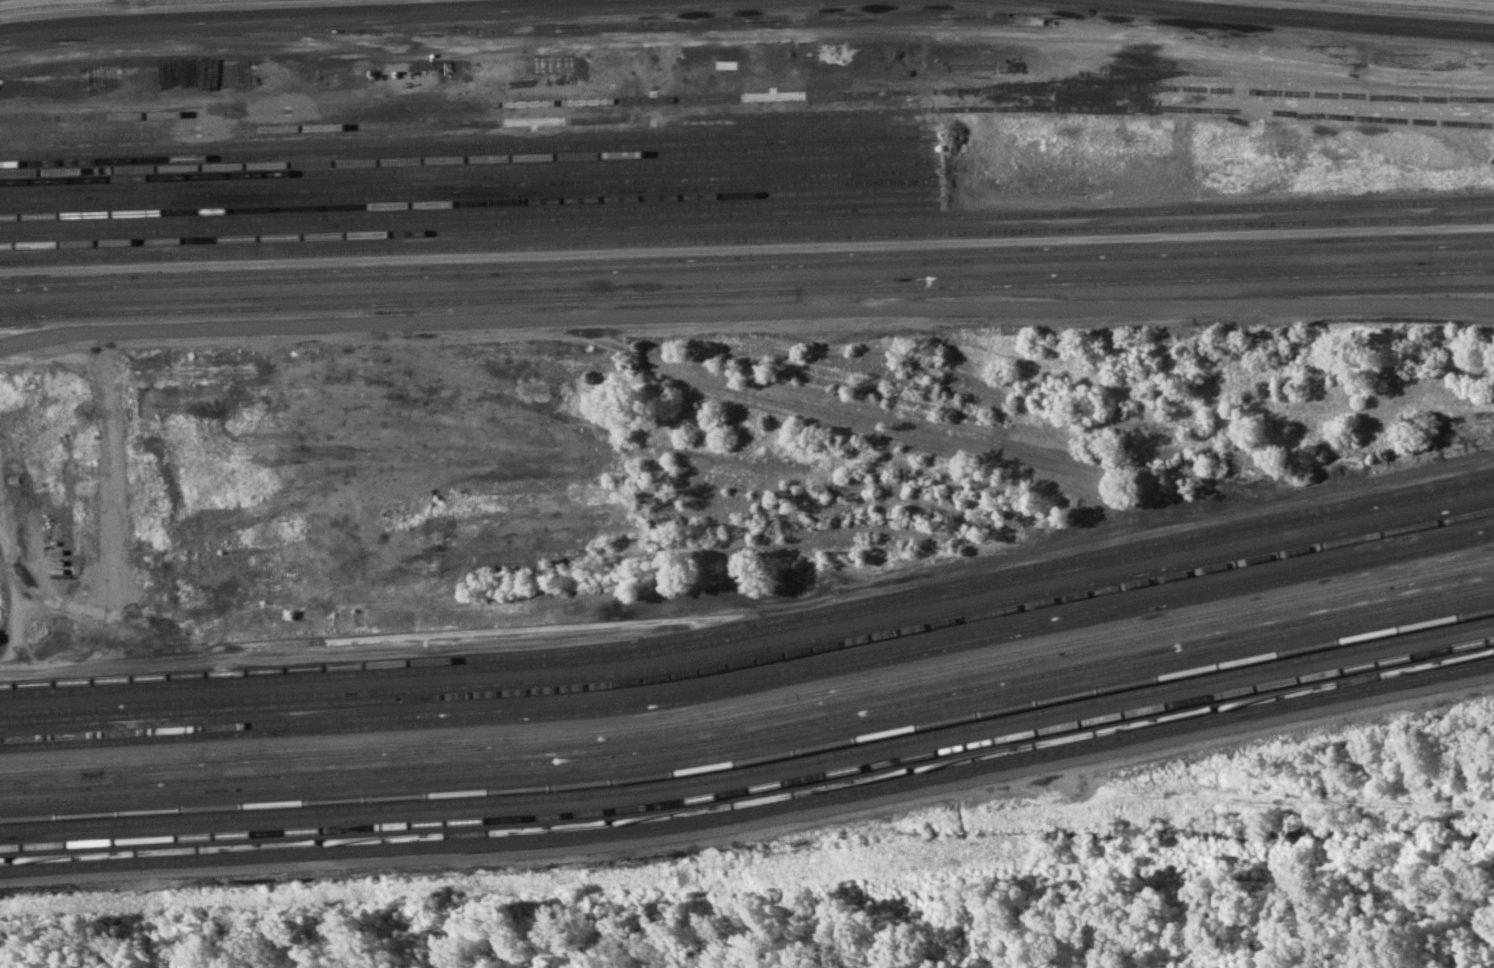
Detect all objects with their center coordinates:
railway: (7, 0)
railway: (1475, 1)
railway: (94, 4)
railway: (1410, 6)
railway: (279, 10)
railway: (1320, 13)
railway: (414, 16)
railway: (1236, 17)
railway: (468, 106)
railway: (469, 123)
railway: (469, 131)
railway: (470, 140)
railway: (470, 150)
railway: (470, 159)
railway: (470, 167)
railway: (470, 177)
railway: (471, 185)
railway: (471, 195)
railway: (471, 204)
railway: (1219, 208)
railway: (472, 212)
railway: (472, 221)
railway: (472, 231)
railway: (747, 239)
road: (961, 242)
railway: (746, 258)
railway: (746, 266)
railway: (746, 284)
railway: (746, 293)
road: (746, 313)
railway: (1300, 522)
road: (15, 605)
railway: (753, 625)
railway: (753, 651)
railway: (753, 660)
railway: (557, 662)
railway: (752, 676)
railway: (753, 688)
railway: (753, 705)
railway: (753, 714)
railway: (752, 732)
railway: (753, 742)
railway: (752, 759)
railway: (753, 768)
railway: (752, 788)
railway: (753, 801)
railway: (753, 811)
park: (817, 923)

